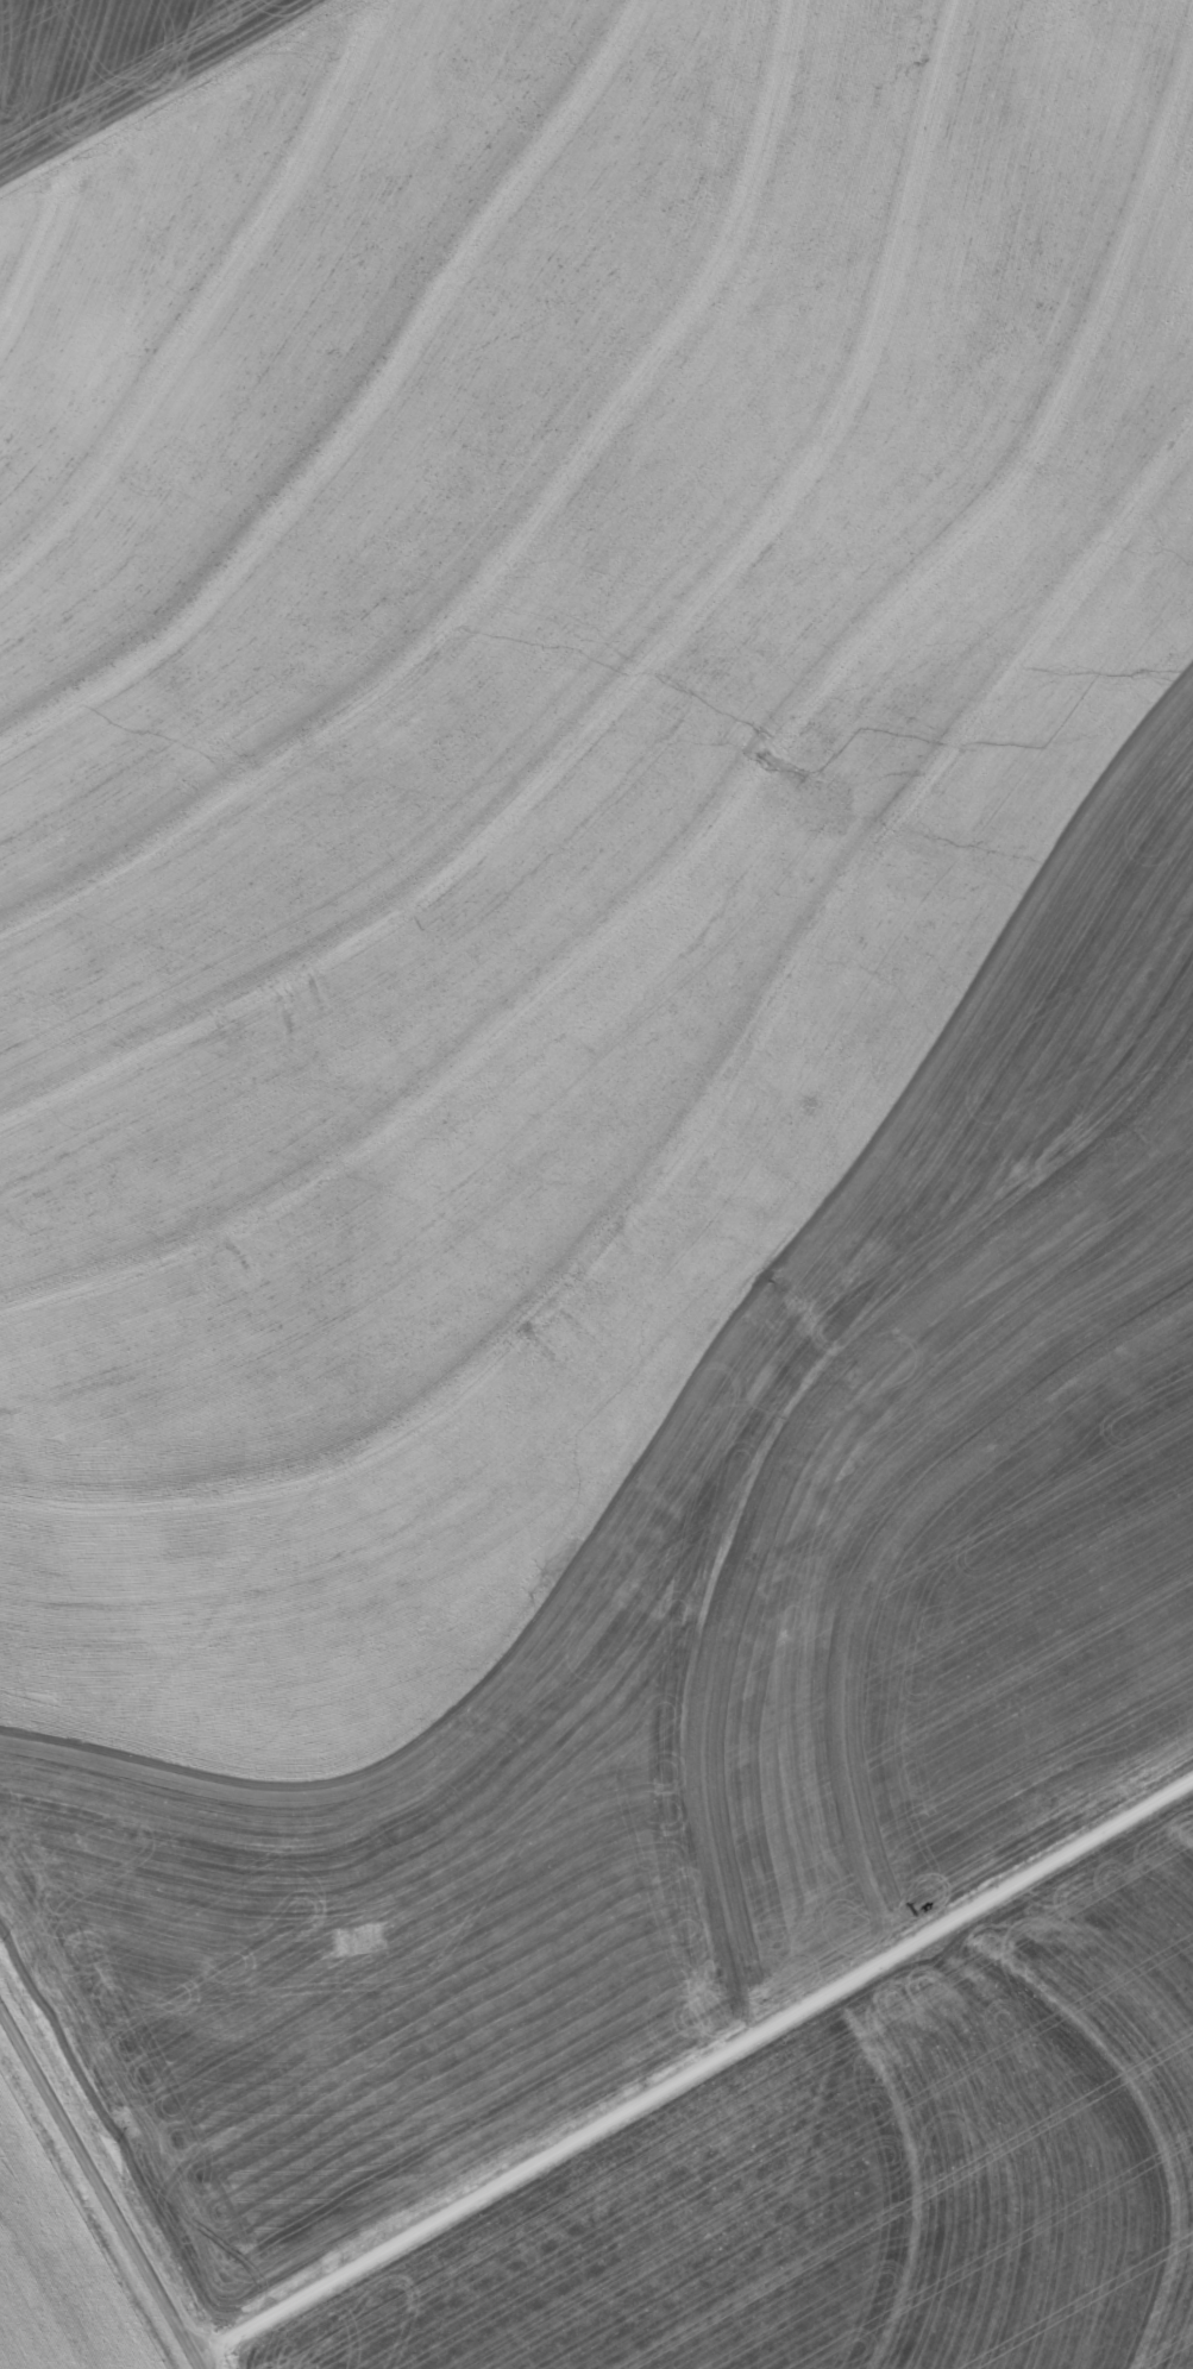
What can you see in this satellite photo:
road: (695, 2074)
road: (100, 2189)

